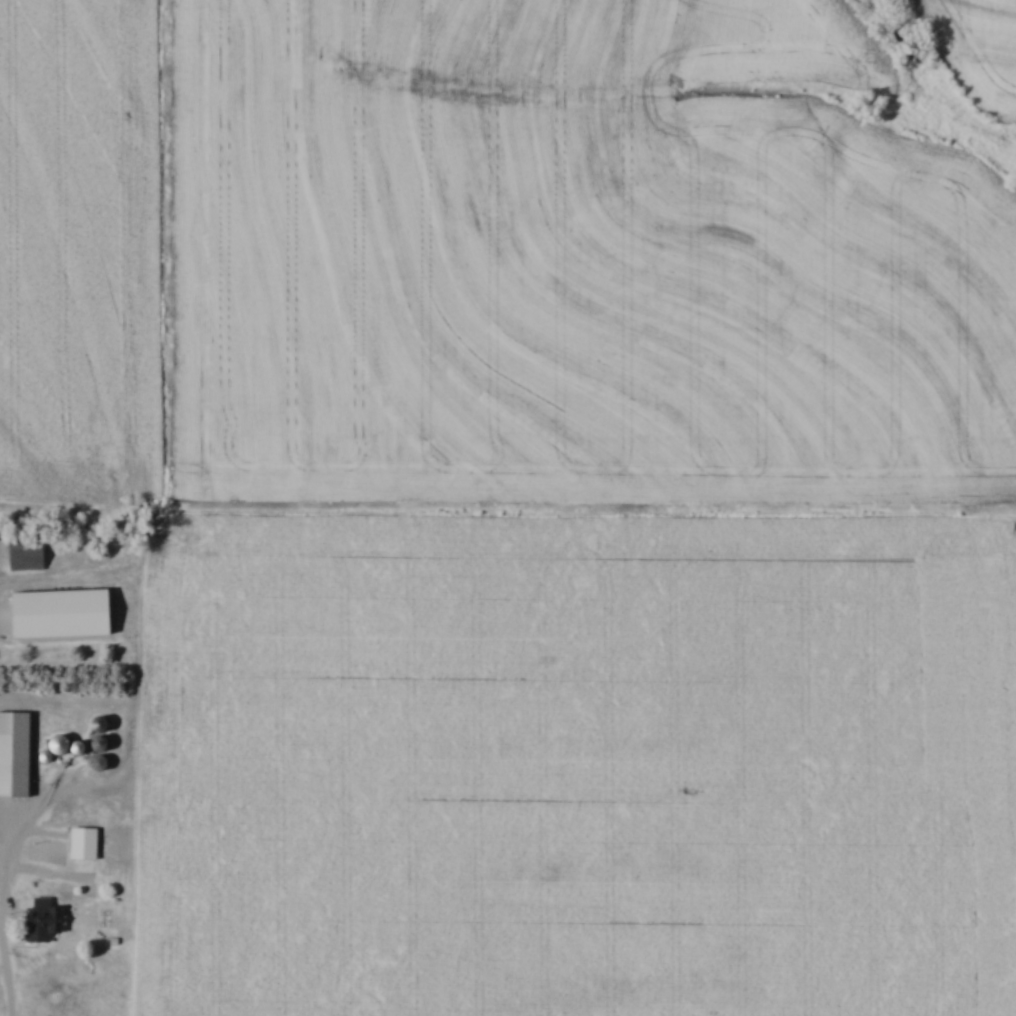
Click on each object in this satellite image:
building: (29, 553)
building: (17, 754)
building: (1, 828)
road: (5, 917)
building: (47, 920)

